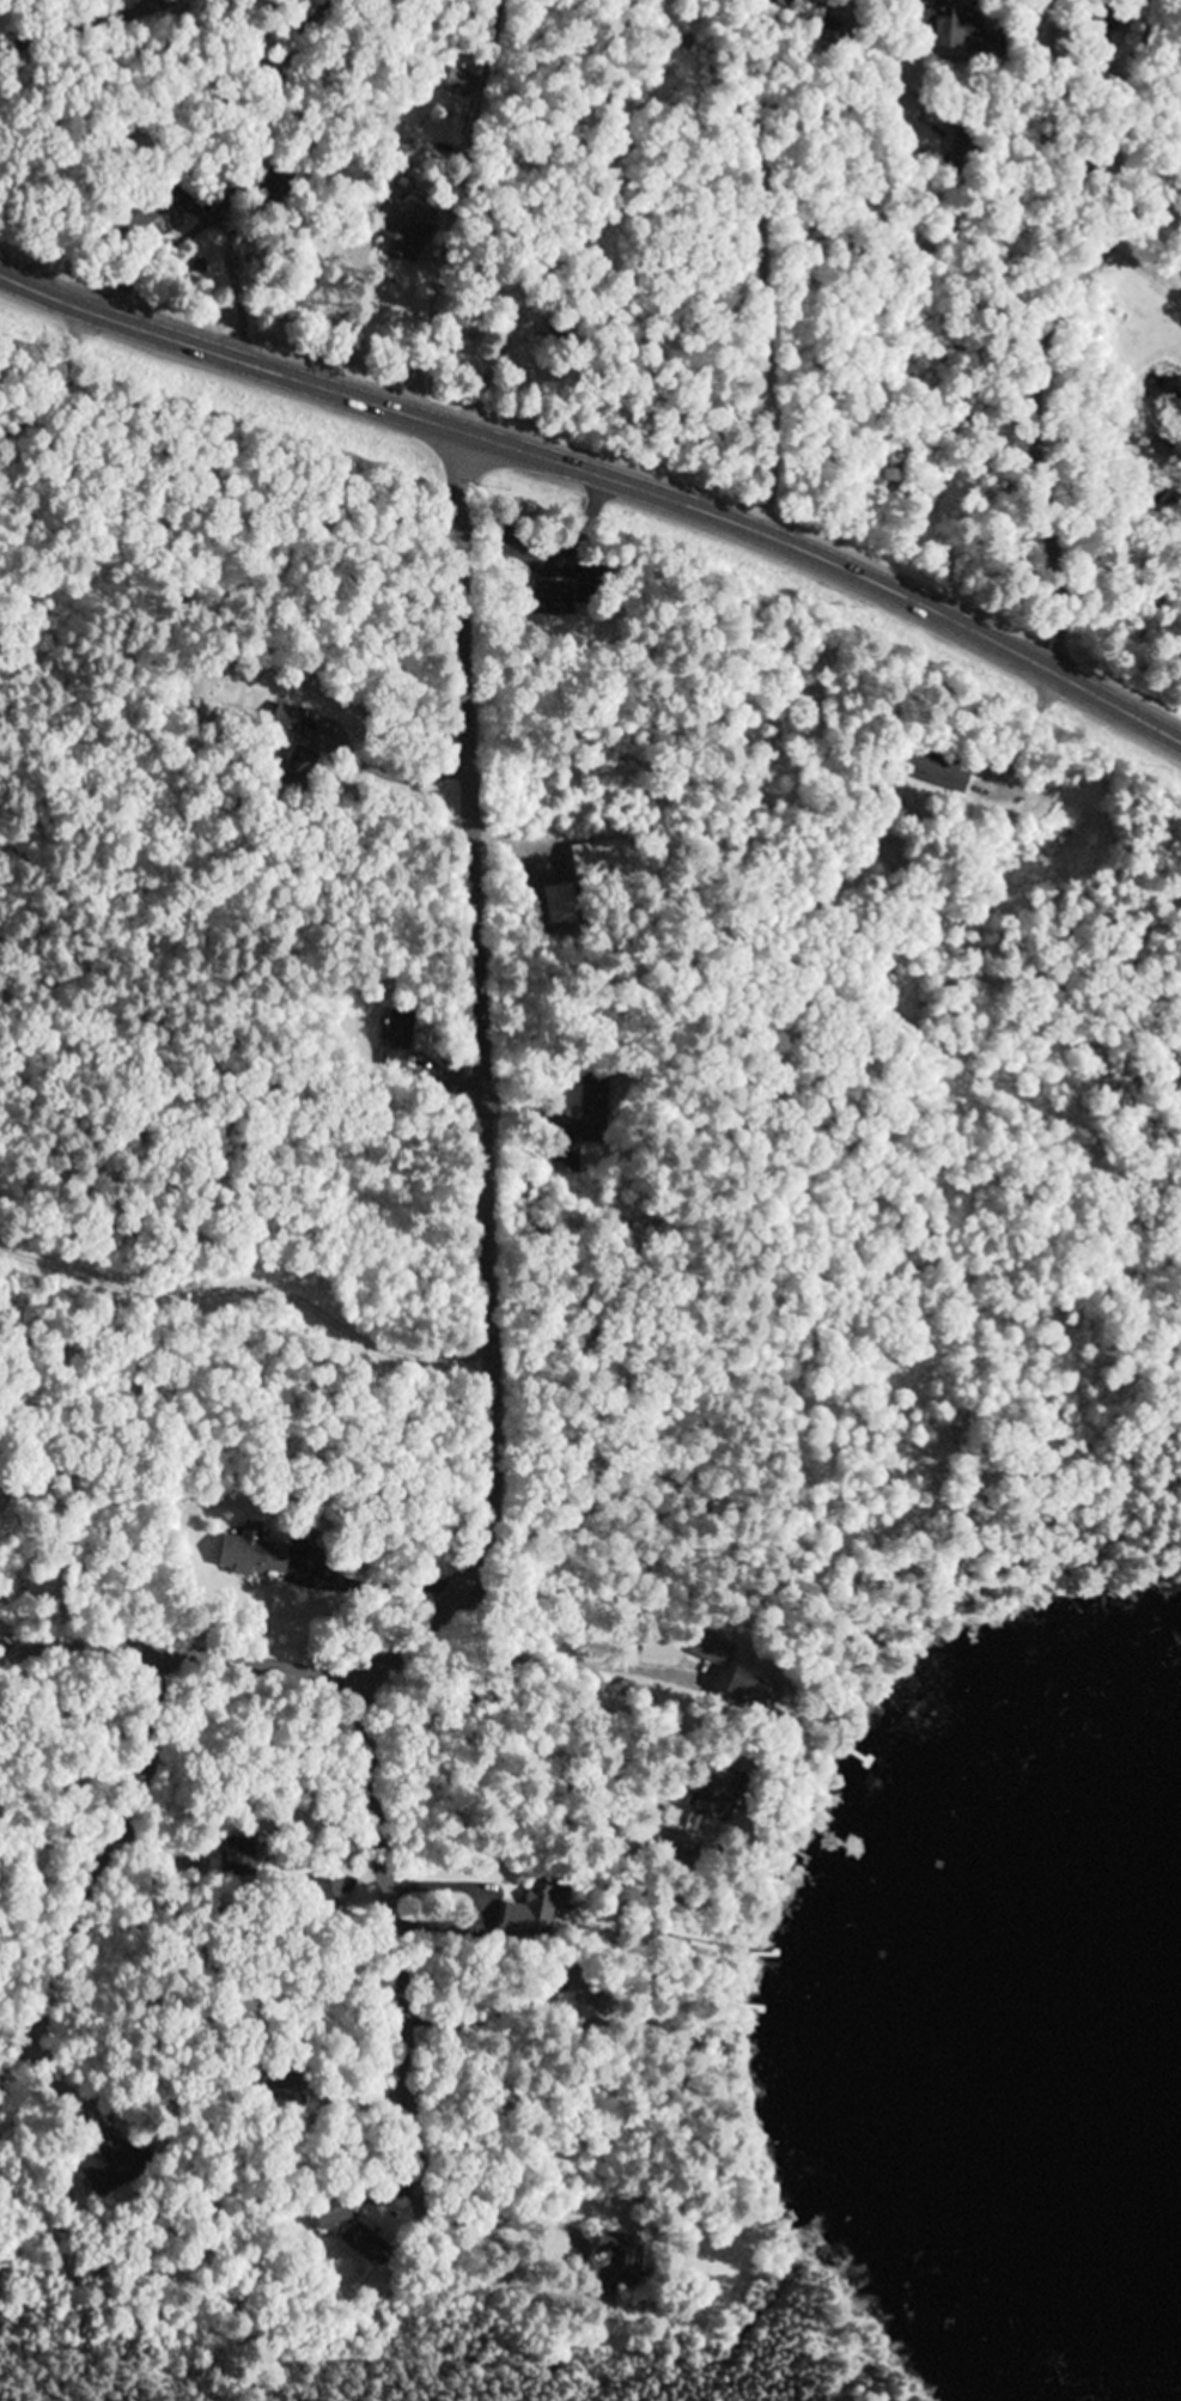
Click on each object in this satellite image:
building: (777, 2)
road: (994, 12)
building: (942, 26)
road: (1125, 77)
building: (1180, 162)
road: (451, 207)
building: (407, 230)
road: (1151, 247)
road: (401, 248)
road: (719, 259)
road: (147, 271)
road: (336, 300)
building: (1162, 326)
road: (1041, 378)
road: (601, 475)
building: (543, 600)
building: (927, 771)
building: (395, 1039)
road: (488, 1060)
road: (494, 1487)
building: (256, 1551)
building: (711, 1648)
road: (252, 1654)
building: (757, 1688)
building: (717, 1791)
road: (106, 1870)
building: (536, 1908)
road: (398, 1945)
building: (282, 2085)
building: (98, 2175)
building: (353, 2231)
building: (619, 2250)

